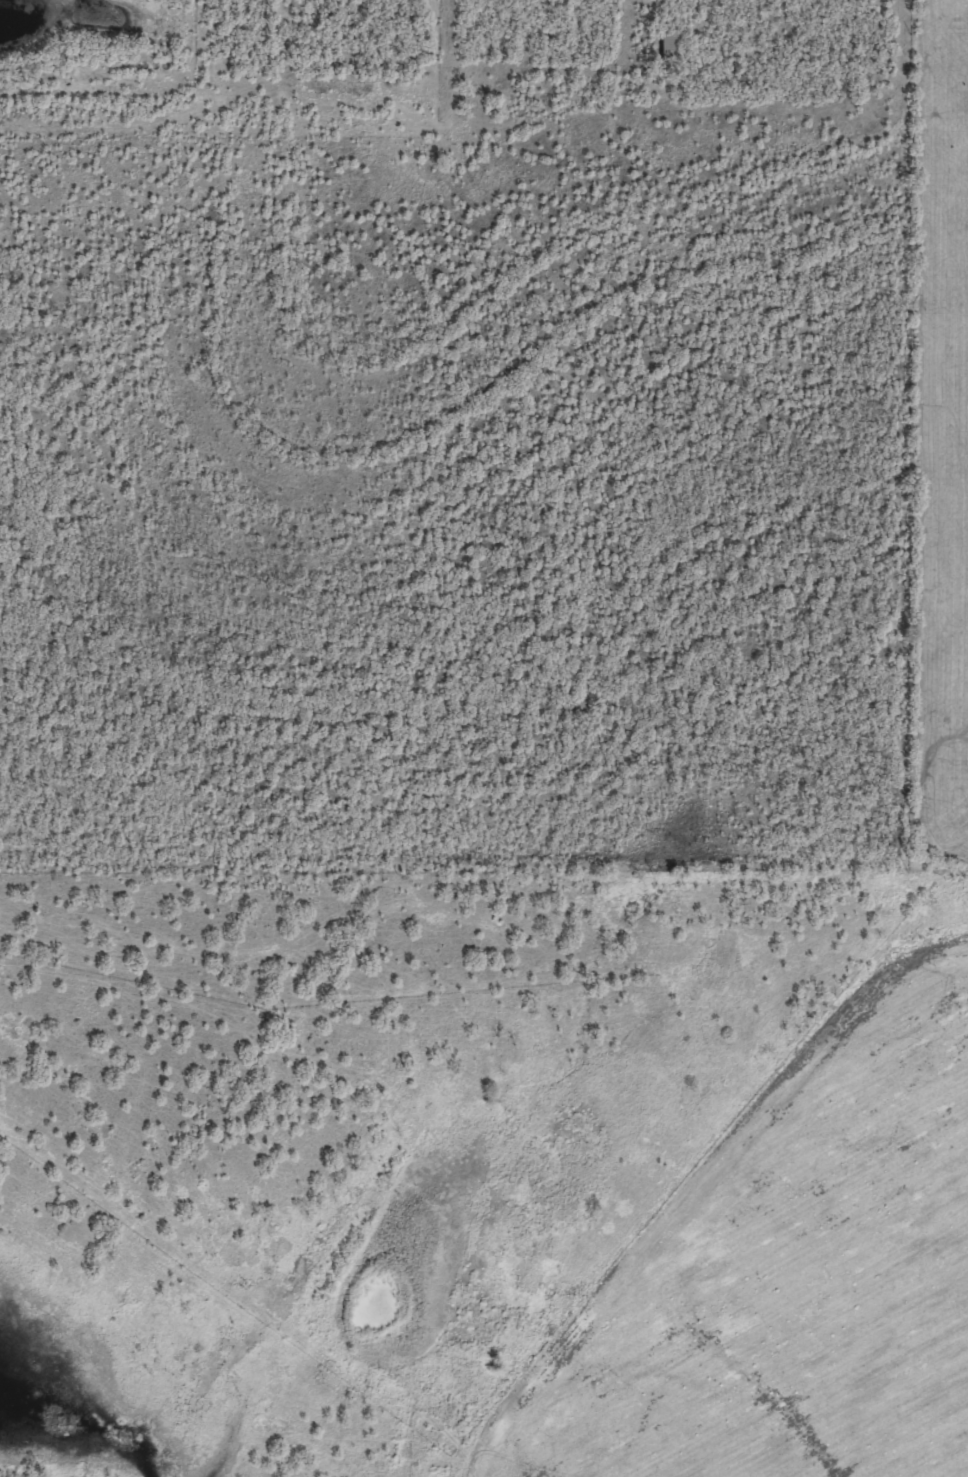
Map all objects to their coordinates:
building: (670, 44)

